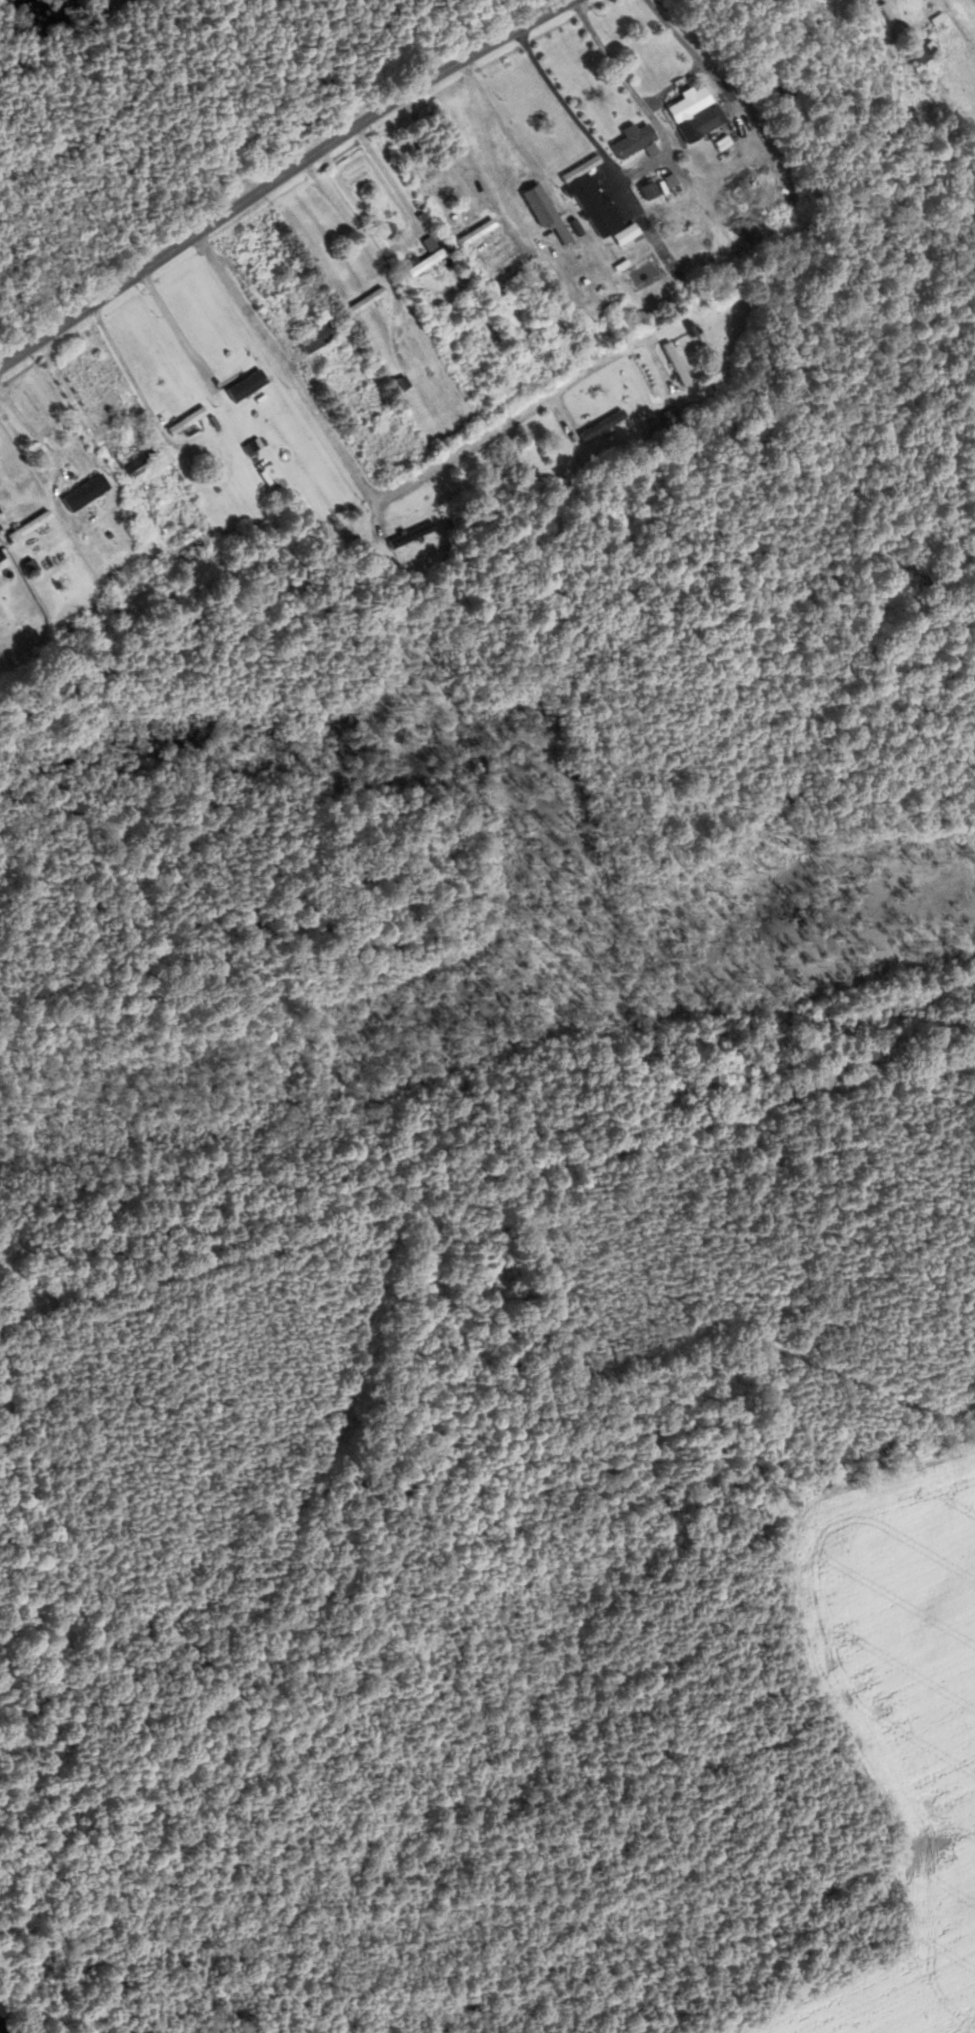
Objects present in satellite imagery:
building: (920, 55)
building: (694, 112)
building: (631, 138)
road: (282, 177)
road: (812, 182)
building: (647, 189)
building: (588, 196)
building: (538, 204)
building: (475, 232)
building: (425, 261)
building: (364, 300)
building: (317, 334)
building: (509, 367)
building: (400, 382)
building: (245, 383)
building: (185, 419)
building: (588, 432)
road: (52, 453)
building: (136, 457)
building: (84, 491)
building: (411, 533)
building: (189, 542)
building: (1, 554)

